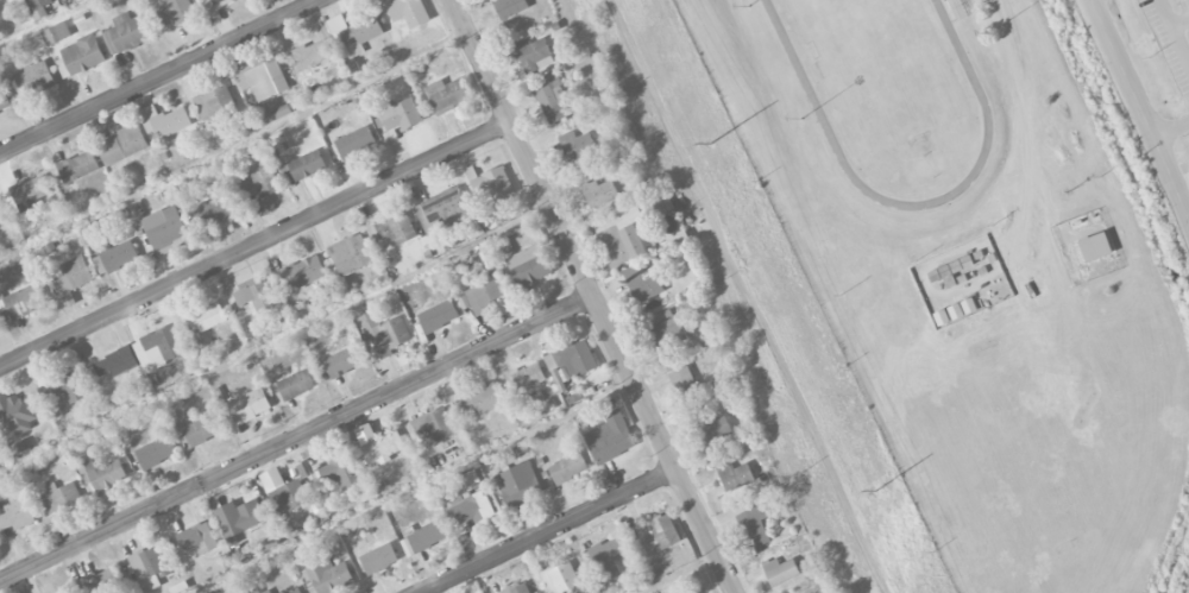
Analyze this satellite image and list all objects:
building: (0, 0)
building: (383, 2)
building: (214, 4)
building: (510, 7)
building: (177, 11)
building: (414, 12)
road: (1179, 23)
building: (126, 32)
building: (56, 33)
building: (354, 33)
road: (1174, 37)
building: (312, 53)
building: (533, 53)
building: (80, 56)
building: (36, 77)
road: (162, 77)
building: (263, 78)
building: (447, 95)
building: (551, 97)
building: (4, 100)
building: (215, 105)
building: (277, 113)
road: (1141, 113)
building: (400, 114)
building: (164, 120)
road: (1171, 130)
building: (356, 143)
building: (122, 144)
power tower: (711, 144)
building: (577, 145)
building: (78, 166)
building: (262, 183)
building: (491, 183)
building: (30, 190)
building: (599, 193)
building: (443, 210)
building: (2, 220)
building: (394, 228)
building: (166, 229)
building: (629, 231)
building: (1095, 246)
road: (254, 247)
building: (351, 254)
building: (114, 257)
building: (529, 265)
building: (949, 271)
building: (303, 272)
building: (70, 278)
building: (646, 285)
building: (254, 295)
building: (483, 296)
road: (592, 296)
building: (23, 301)
building: (439, 316)
building: (207, 317)
building: (385, 333)
building: (668, 333)
building: (158, 348)
building: (344, 361)
building: (117, 362)
building: (527, 376)
building: (296, 384)
building: (686, 386)
building: (65, 387)
building: (480, 400)
building: (250, 405)
building: (15, 412)
building: (435, 425)
building: (203, 429)
building: (715, 429)
building: (610, 437)
road: (296, 440)
building: (383, 447)
building: (0, 449)
building: (156, 452)
building: (568, 467)
building: (341, 472)
building: (103, 474)
building: (735, 475)
building: (518, 484)
building: (283, 491)
power tower: (875, 491)
building: (61, 498)
building: (472, 507)
building: (17, 515)
building: (238, 519)
building: (755, 525)
building: (659, 530)
road: (549, 531)
building: (423, 537)
building: (197, 538)
building: (609, 556)
building: (379, 559)
building: (147, 567)
building: (780, 570)
building: (327, 576)
building: (560, 578)
building: (103, 581)
building: (517, 588)
building: (63, 591)
building: (295, 591)
building: (266, 592)

